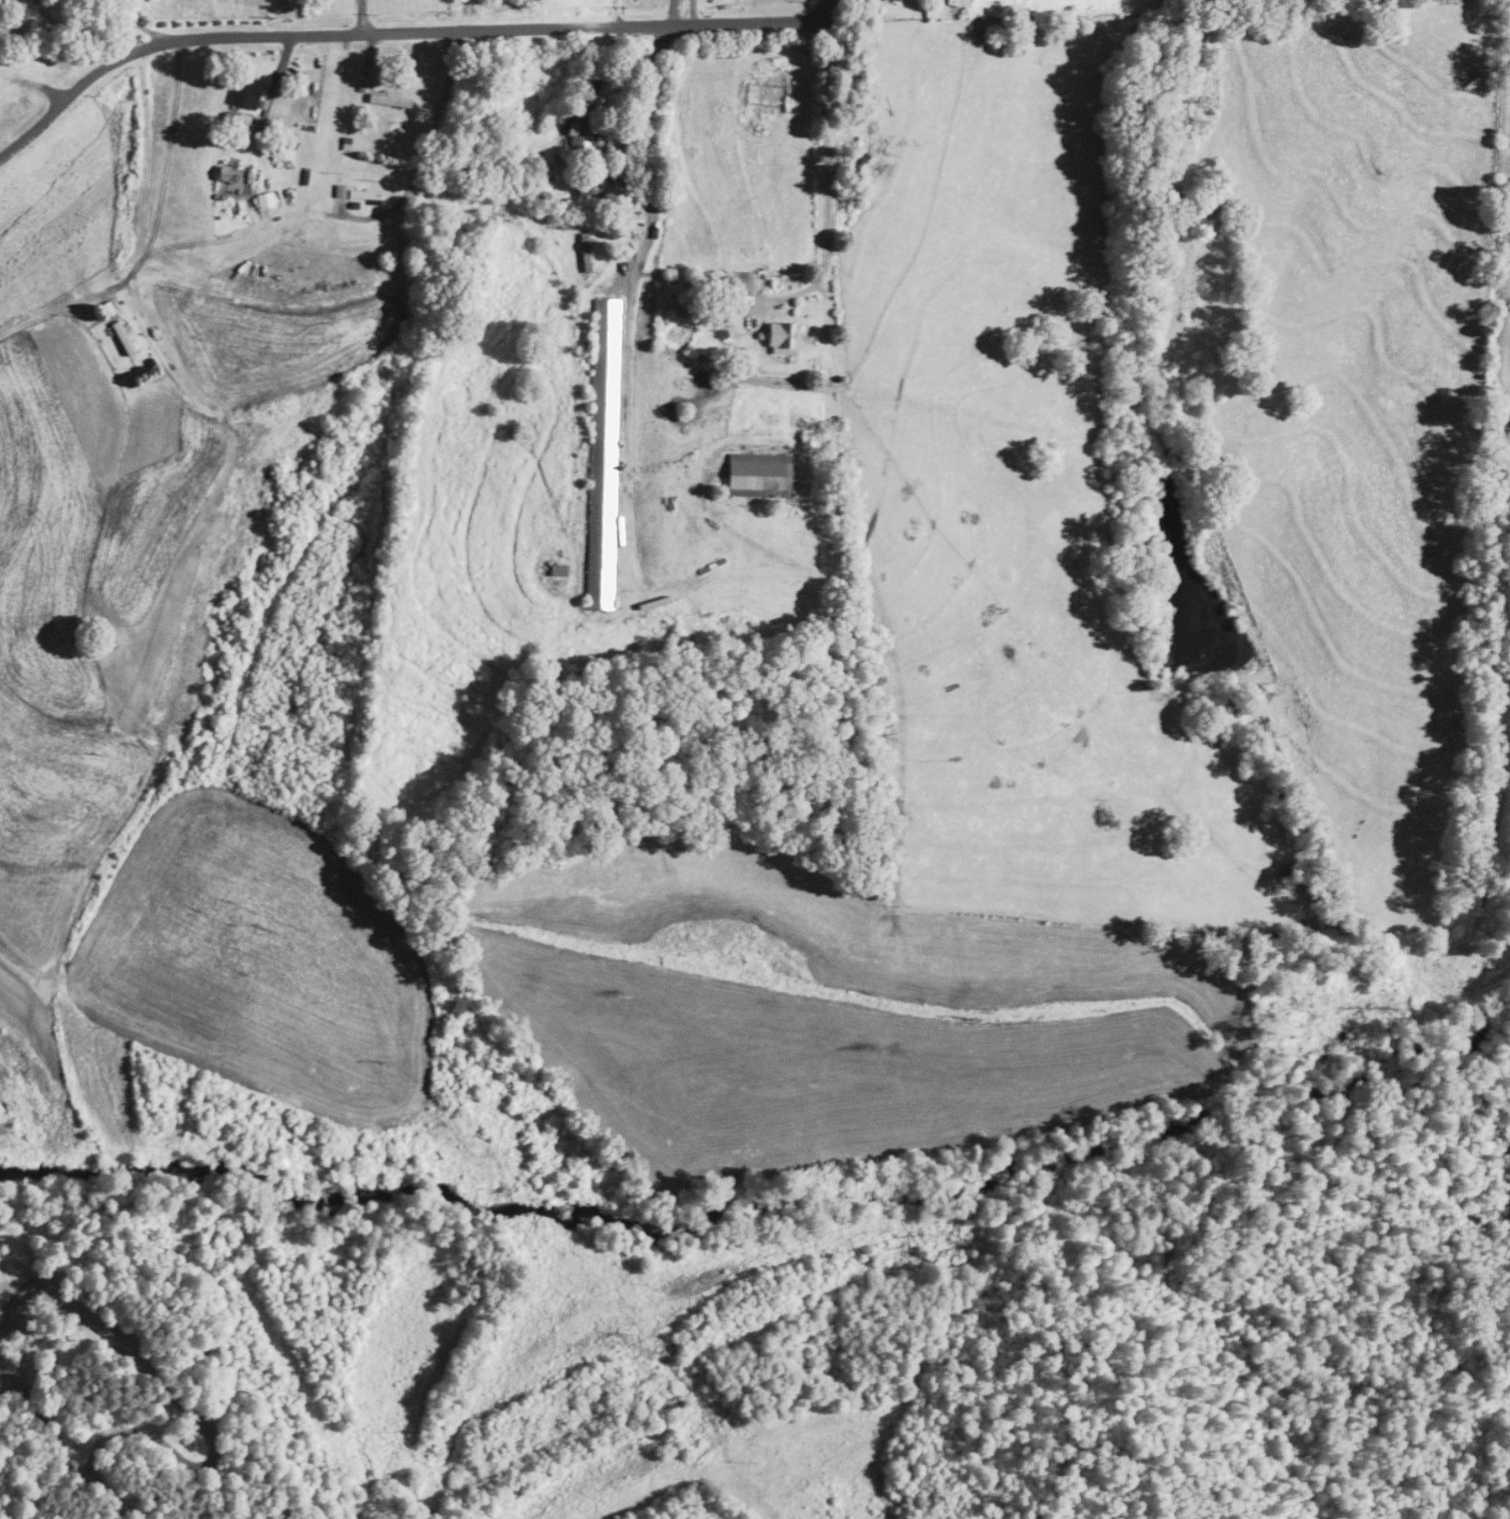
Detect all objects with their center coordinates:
building: (959, 3)
road: (674, 15)
road: (619, 16)
road: (362, 20)
road: (135, 21)
road: (83, 30)
road: (402, 39)
building: (249, 92)
building: (391, 101)
building: (587, 136)
road: (827, 176)
building: (220, 178)
road: (161, 188)
road: (406, 194)
building: (367, 195)
building: (587, 253)
building: (742, 284)
building: (108, 309)
building: (125, 336)
building: (785, 339)
building: (604, 454)
building: (761, 475)
building: (560, 570)

